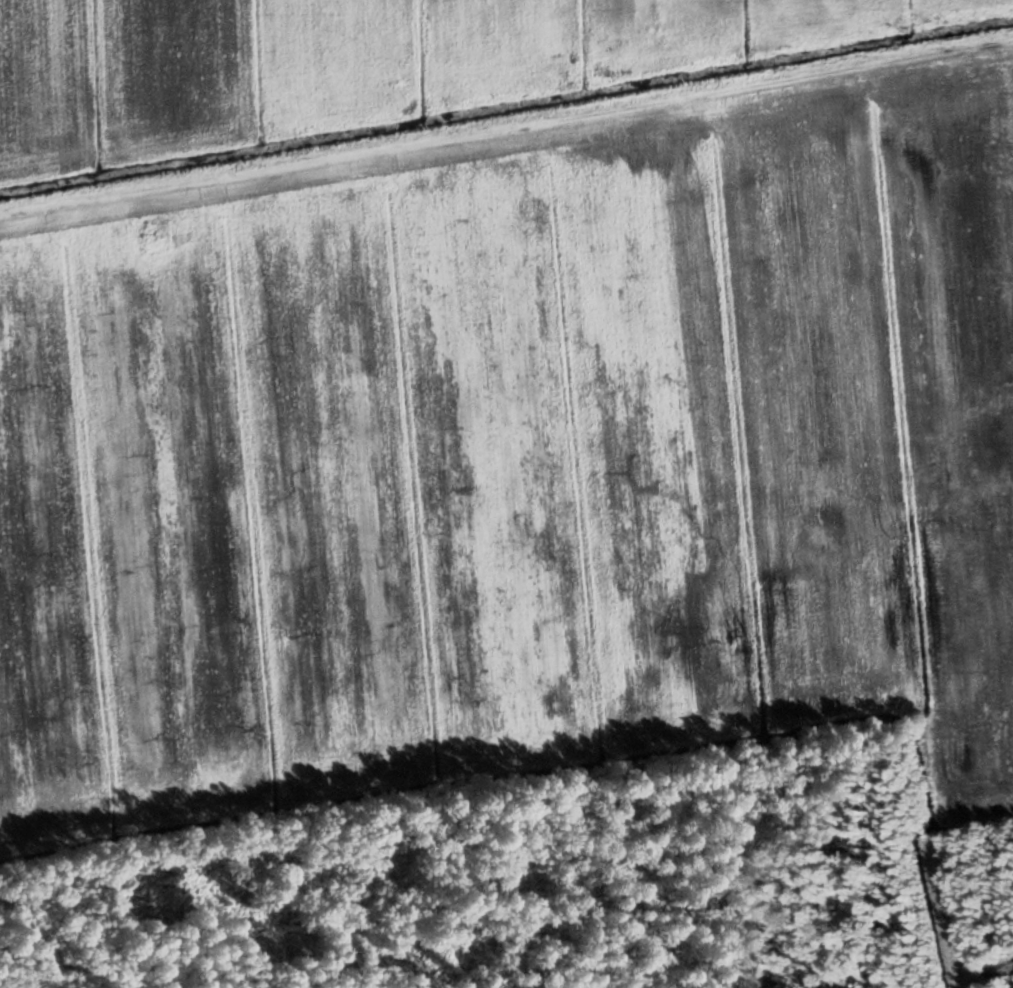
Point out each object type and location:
road: (506, 123)

